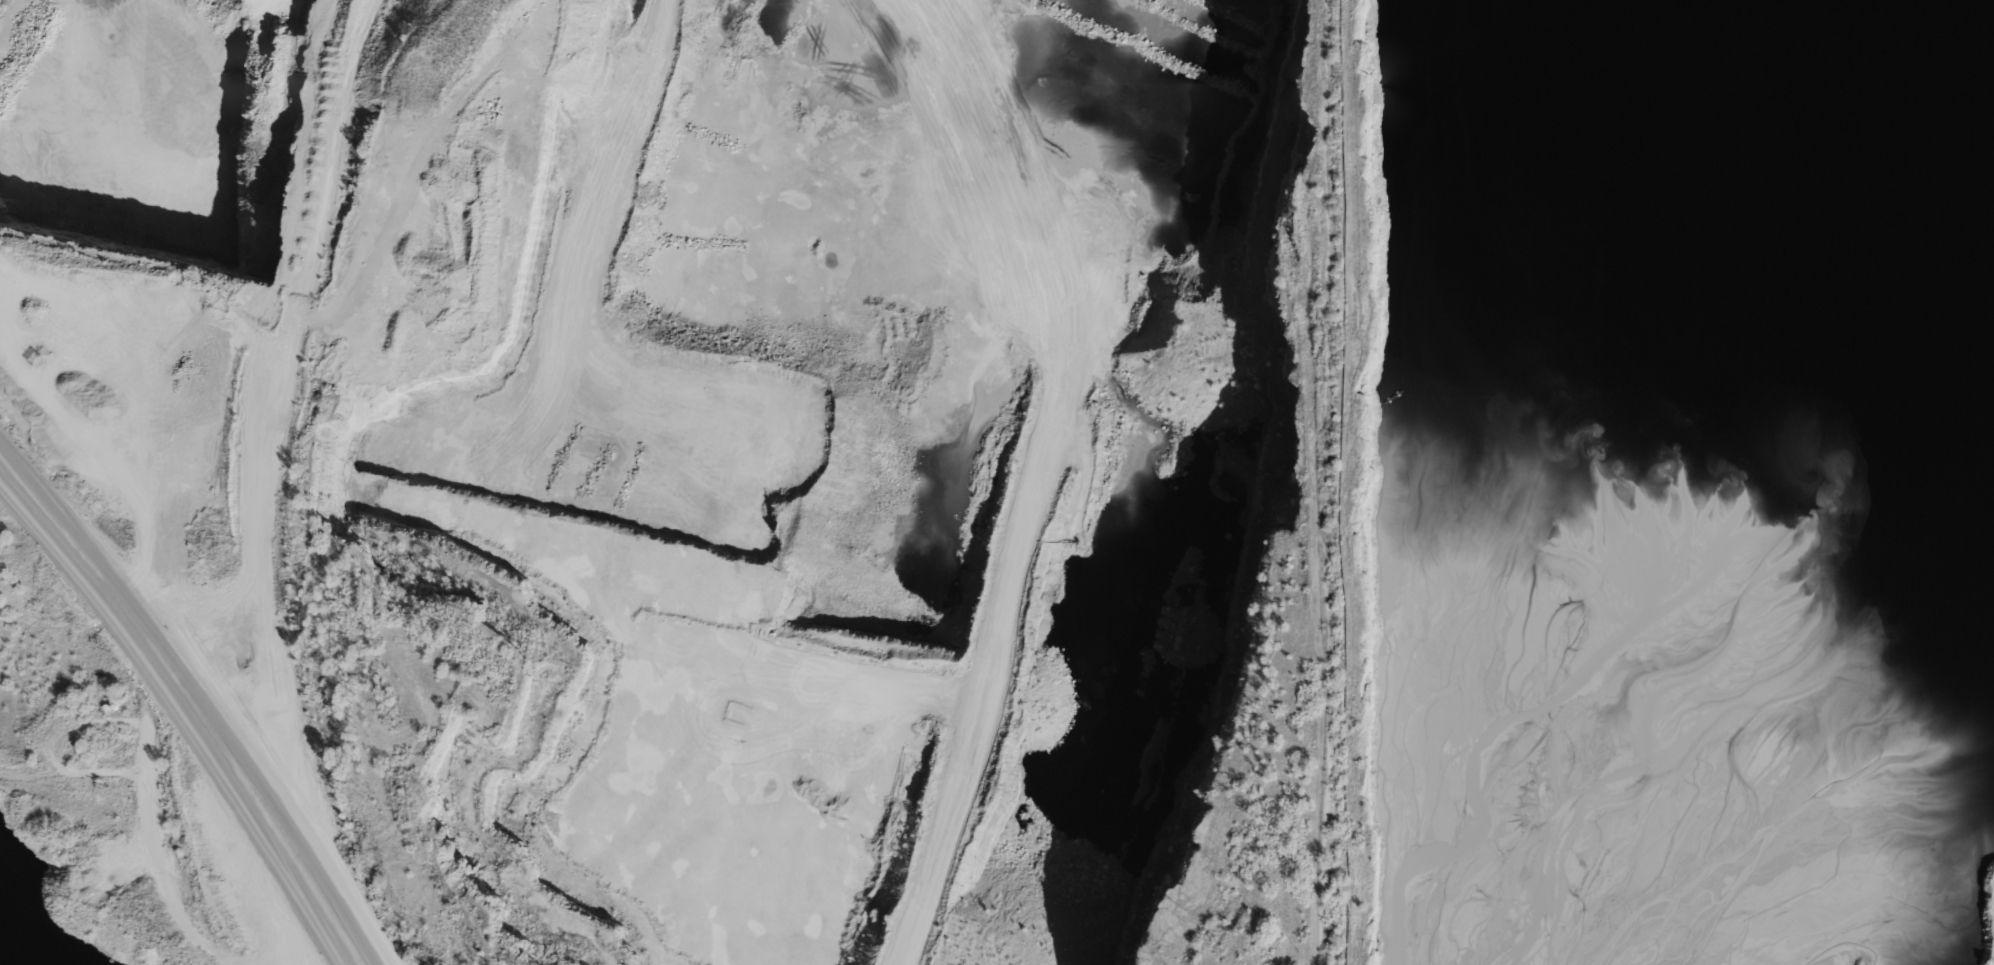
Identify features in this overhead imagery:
quarry: (748, 431)
quarry: (1680, 484)
road: (189, 710)

